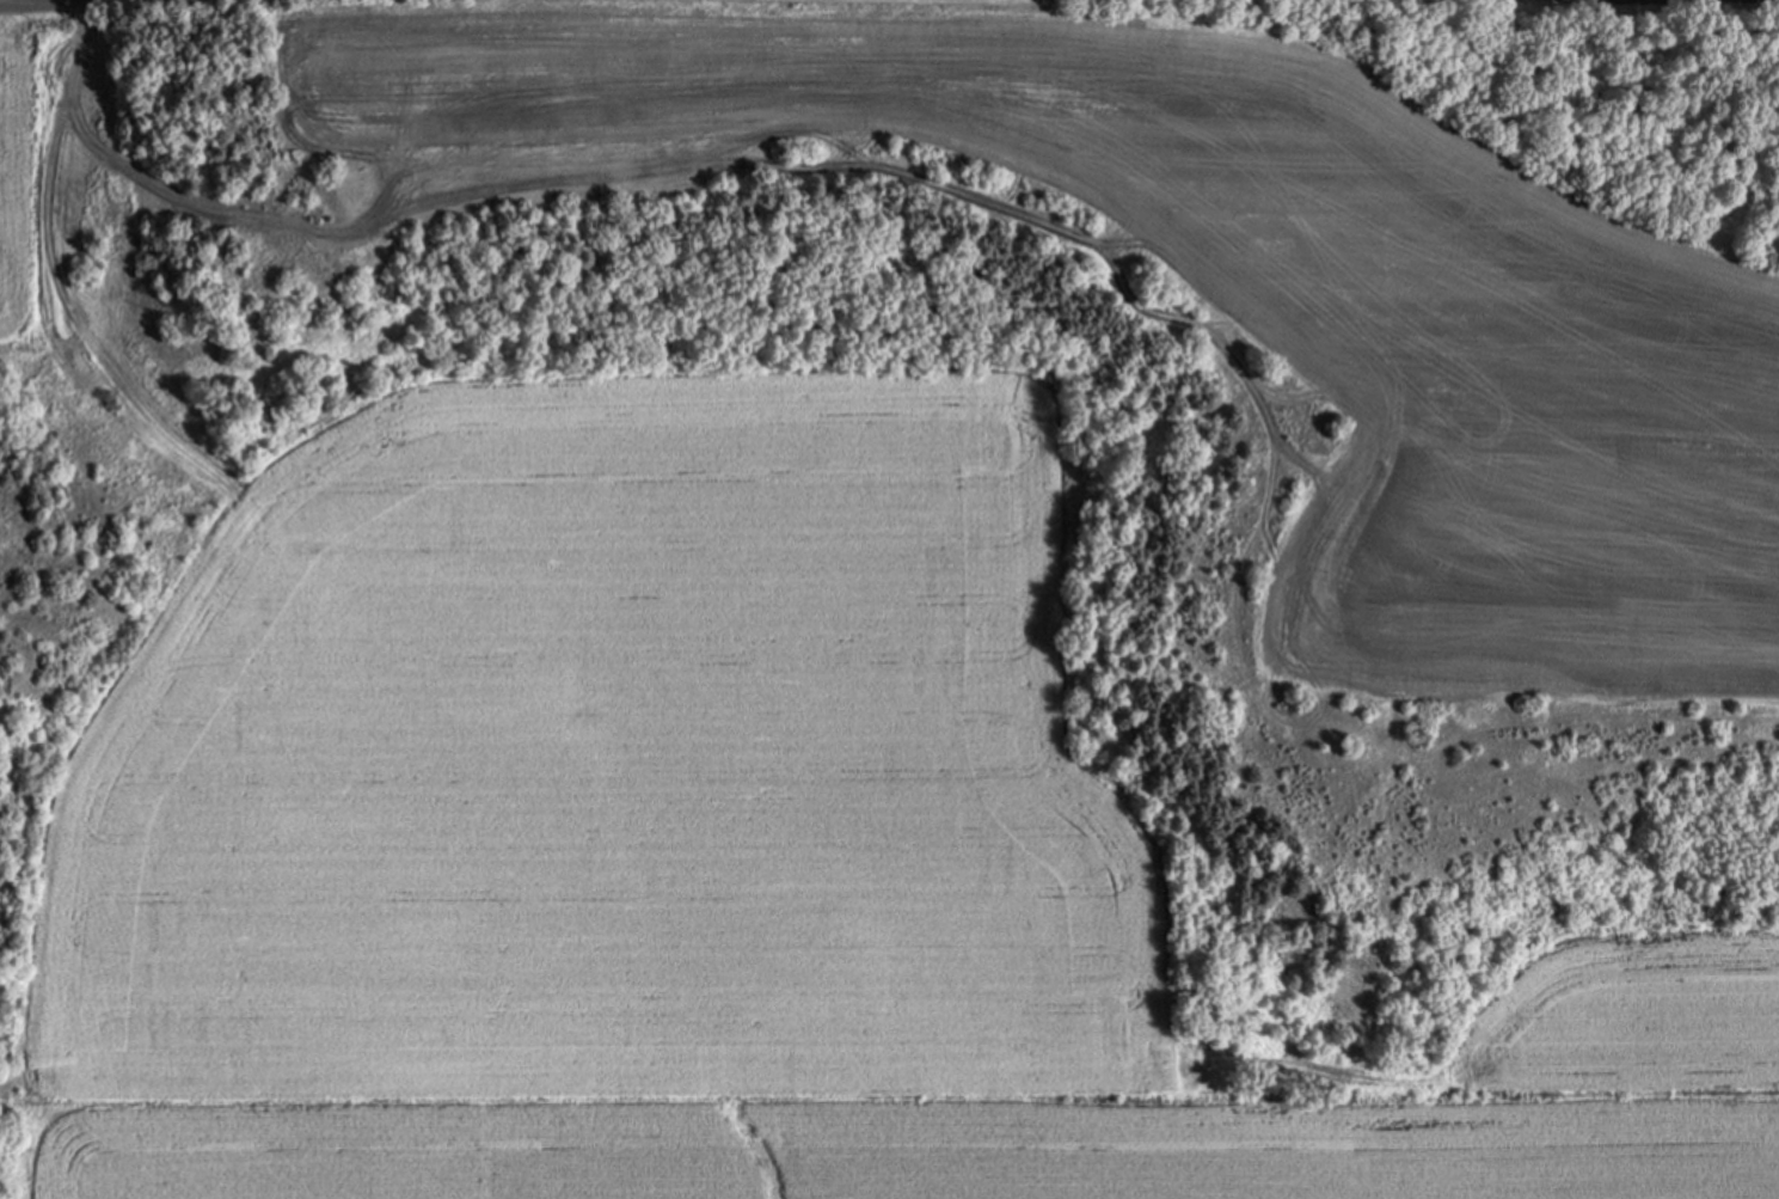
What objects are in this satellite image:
road: (32, 4)
road: (1100, 250)
road: (60, 281)

